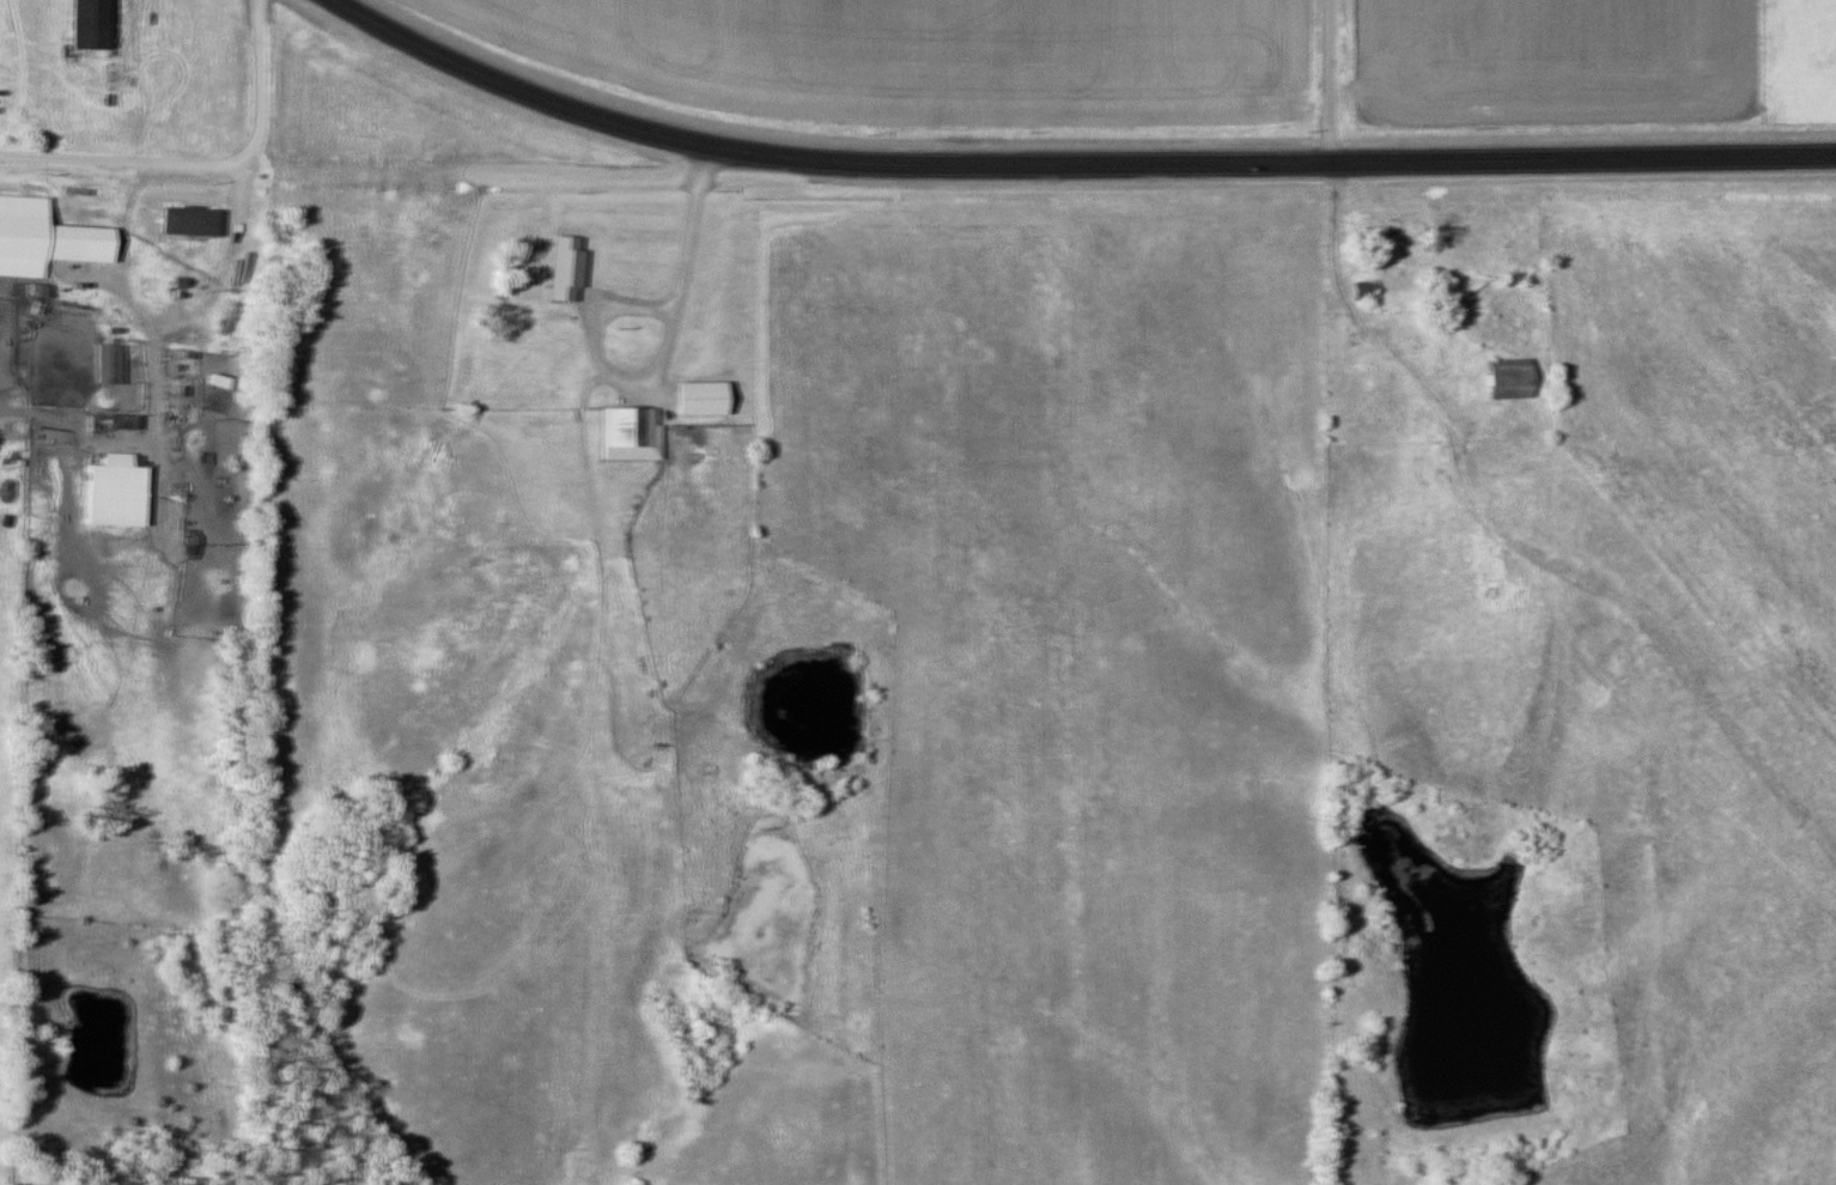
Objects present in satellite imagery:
building: (83, 24)
road: (1331, 81)
road: (205, 164)
road: (1072, 164)
building: (183, 220)
building: (72, 243)
building: (521, 251)
building: (25, 290)
building: (1356, 290)
building: (104, 364)
building: (1504, 378)
building: (694, 399)
building: (624, 433)
building: (184, 543)

